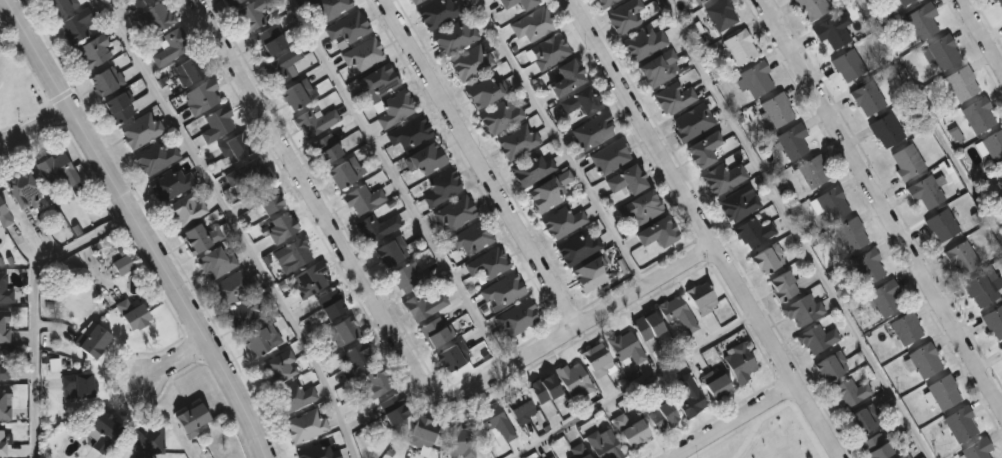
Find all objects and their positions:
building: (991, 0)
building: (414, 1)
building: (703, 1)
building: (903, 1)
building: (140, 2)
building: (231, 2)
building: (504, 2)
building: (1000, 2)
building: (524, 3)
building: (605, 3)
building: (59, 6)
building: (327, 8)
building: (810, 8)
building: (437, 12)
building: (251, 13)
building: (724, 14)
building: (625, 15)
building: (156, 16)
building: (921, 19)
building: (532, 23)
building: (76, 25)
building: (346, 28)
building: (830, 31)
road: (983, 31)
building: (453, 37)
building: (269, 38)
parking lot: (3, 40)
building: (644, 43)
building: (172, 45)
building: (742, 47)
building: (94, 50)
building: (549, 50)
building: (939, 51)
building: (362, 54)
building: (470, 62)
building: (846, 64)
building: (280, 65)
building: (657, 68)
building: (190, 69)
building: (565, 76)
building: (108, 79)
building: (757, 79)
building: (377, 81)
building: (958, 82)
building: (484, 90)
building: (298, 92)
building: (202, 96)
building: (674, 97)
building: (866, 98)
building: (579, 101)
building: (119, 104)
building: (393, 107)
building: (779, 110)
building: (977, 114)
road: (932, 116)
building: (499, 117)
building: (315, 121)
building: (692, 122)
building: (218, 123)
road: (33, 127)
building: (142, 129)
building: (885, 129)
building: (592, 130)
building: (410, 132)
road: (560, 140)
building: (517, 141)
building: (795, 141)
building: (991, 145)
building: (325, 147)
building: (235, 148)
building: (702, 148)
building: (156, 156)
building: (609, 156)
building: (424, 158)
building: (906, 161)
road: (479, 163)
building: (55, 169)
building: (529, 169)
building: (814, 170)
building: (250, 171)
building: (344, 171)
building: (999, 174)
building: (722, 178)
building: (626, 179)
road: (397, 182)
building: (171, 183)
building: (441, 187)
building: (548, 190)
building: (23, 191)
building: (924, 191)
building: (268, 196)
building: (362, 199)
road: (880, 201)
building: (829, 203)
building: (737, 204)
building: (641, 207)
building: (186, 209)
building: (454, 213)
building: (4, 215)
building: (561, 221)
building: (940, 224)
road: (235, 225)
building: (281, 225)
building: (378, 226)
road: (133, 228)
road: (796, 229)
road: (704, 230)
building: (754, 231)
building: (655, 232)
building: (849, 234)
building: (200, 237)
building: (472, 237)
building: (577, 248)
building: (390, 250)
building: (295, 253)
building: (960, 257)
building: (768, 258)
building: (217, 261)
building: (124, 262)
building: (488, 263)
building: (864, 266)
building: (591, 272)
building: (409, 277)
building: (312, 278)
building: (782, 286)
building: (232, 288)
building: (4, 289)
building: (978, 289)
building: (503, 290)
building: (701, 297)
building: (883, 297)
building: (331, 302)
building: (424, 305)
building: (804, 309)
road: (36, 310)
building: (246, 310)
building: (135, 313)
building: (678, 313)
building: (517, 317)
building: (994, 321)
building: (1, 324)
building: (647, 325)
building: (905, 327)
building: (343, 330)
building: (437, 331)
road: (392, 336)
building: (261, 338)
building: (817, 338)
building: (90, 339)
building: (626, 346)
building: (1000, 349)
building: (453, 355)
building: (358, 358)
building: (597, 361)
building: (740, 361)
building: (921, 361)
road: (173, 363)
building: (284, 365)
building: (831, 365)
building: (4, 373)
building: (574, 383)
building: (75, 385)
building: (374, 385)
building: (715, 385)
road: (636, 386)
building: (542, 389)
building: (849, 392)
building: (940, 392)
building: (688, 396)
building: (293, 397)
building: (5, 403)
building: (519, 407)
building: (392, 408)
road: (773, 415)
building: (660, 417)
building: (862, 419)
building: (189, 420)
road: (737, 422)
building: (495, 424)
building: (959, 424)
building: (307, 425)
building: (100, 429)
building: (630, 431)
building: (422, 434)
building: (460, 440)
building: (147, 441)
park: (775, 441)
building: (1, 443)
building: (604, 445)
building: (875, 447)
building: (975, 449)
building: (577, 451)
building: (318, 452)
building: (903, 456)
building: (550, 457)
building: (551, 457)

